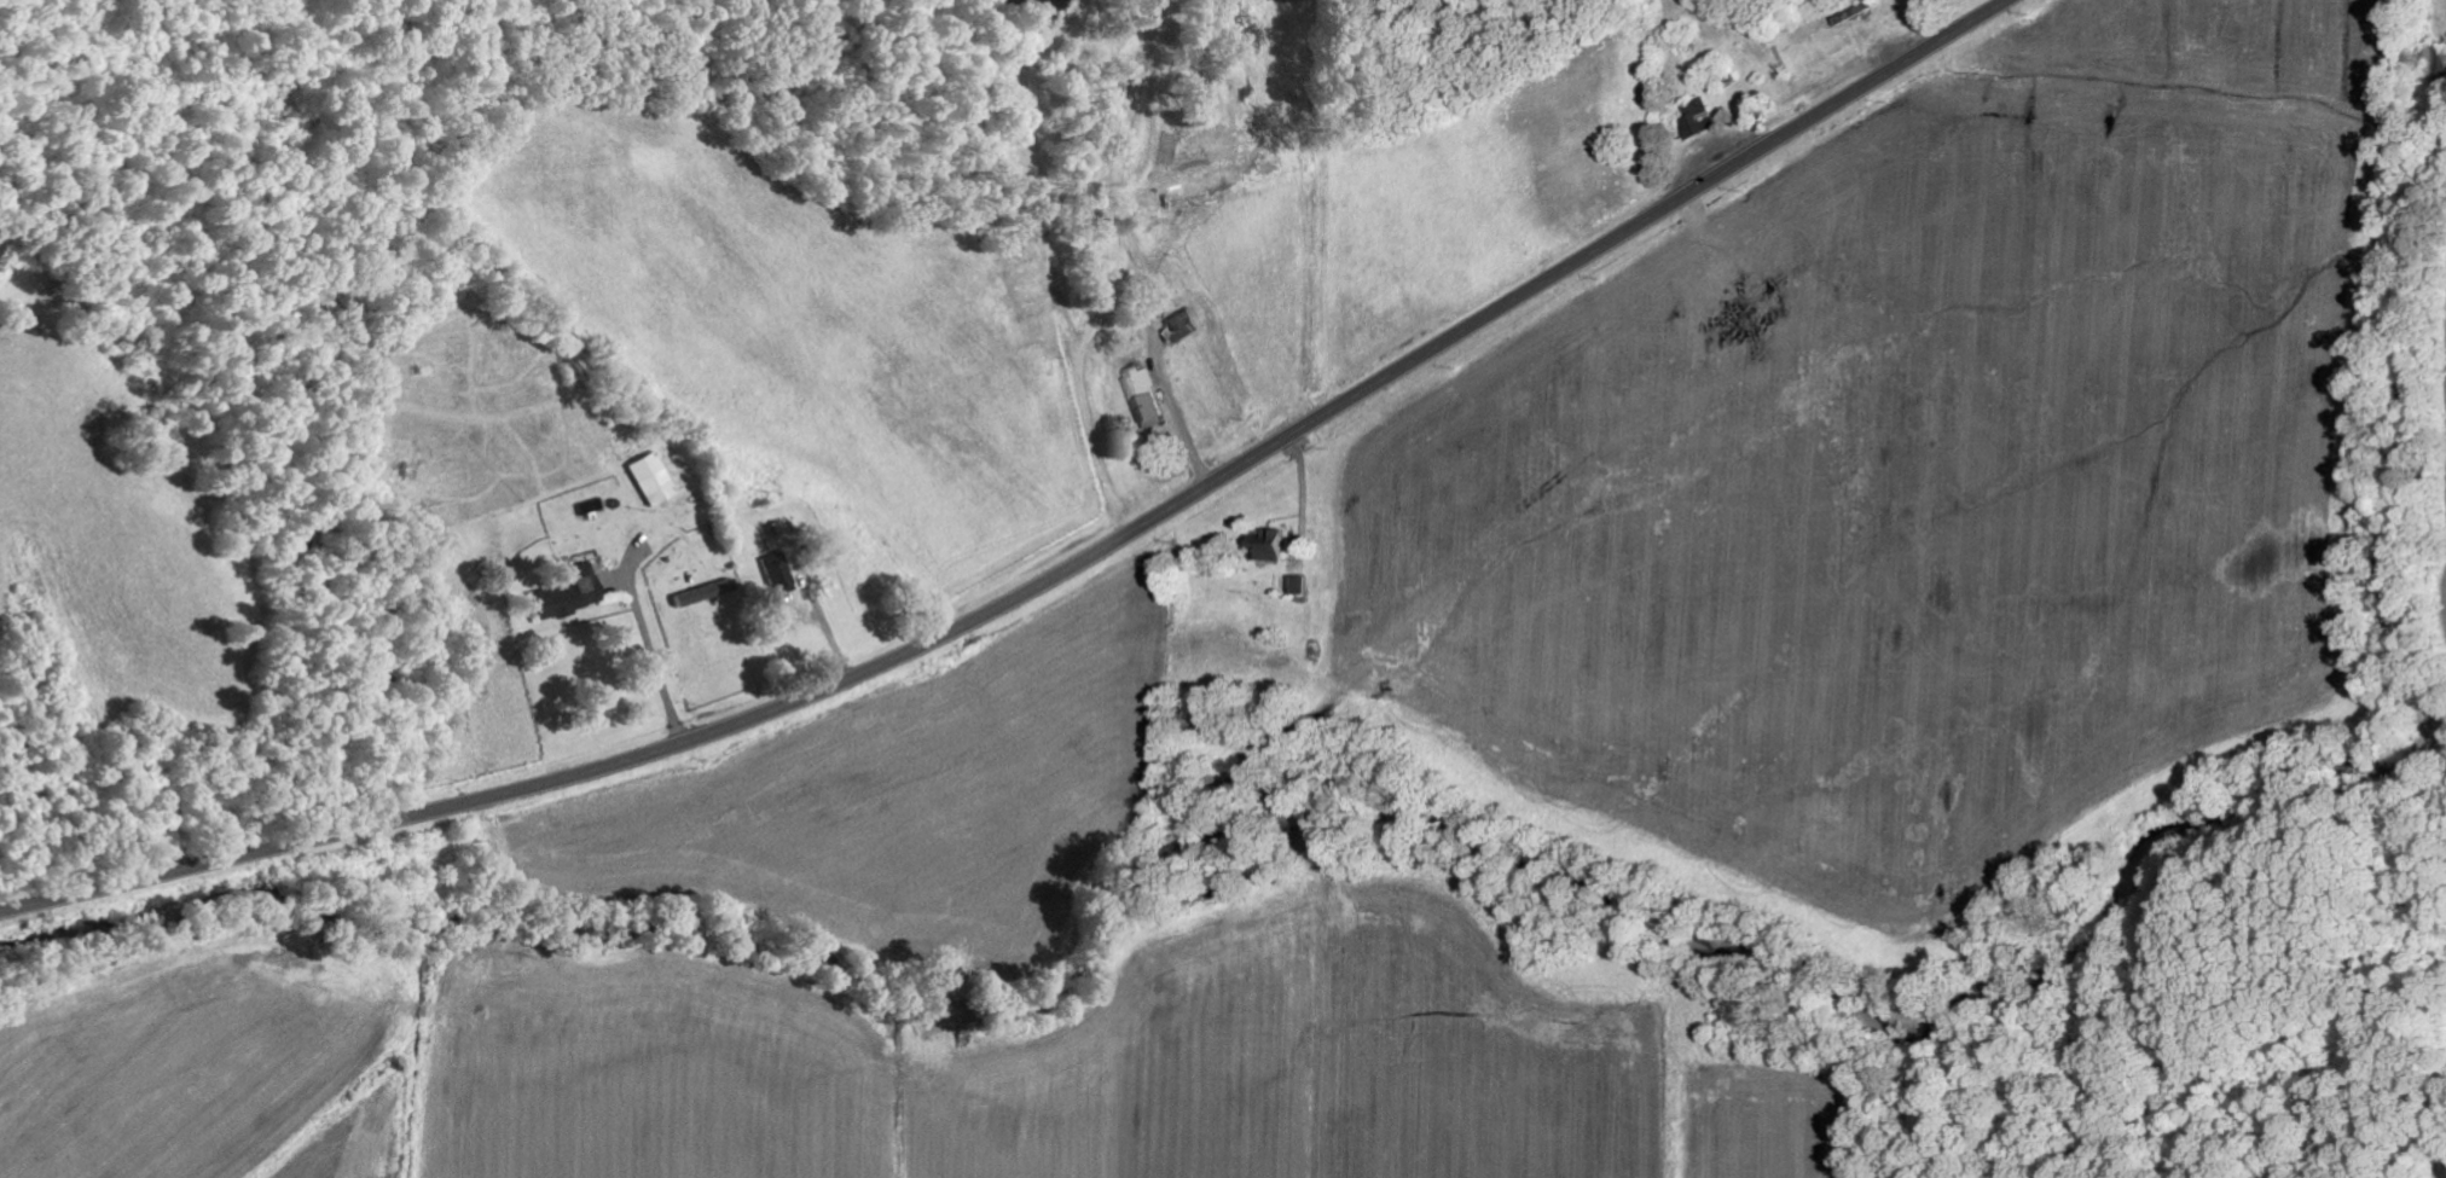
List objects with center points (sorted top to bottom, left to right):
building: (1186, 324)
building: (1147, 394)
building: (651, 477)
building: (1271, 544)
road: (1053, 573)
building: (778, 574)
building: (569, 592)
building: (691, 596)

